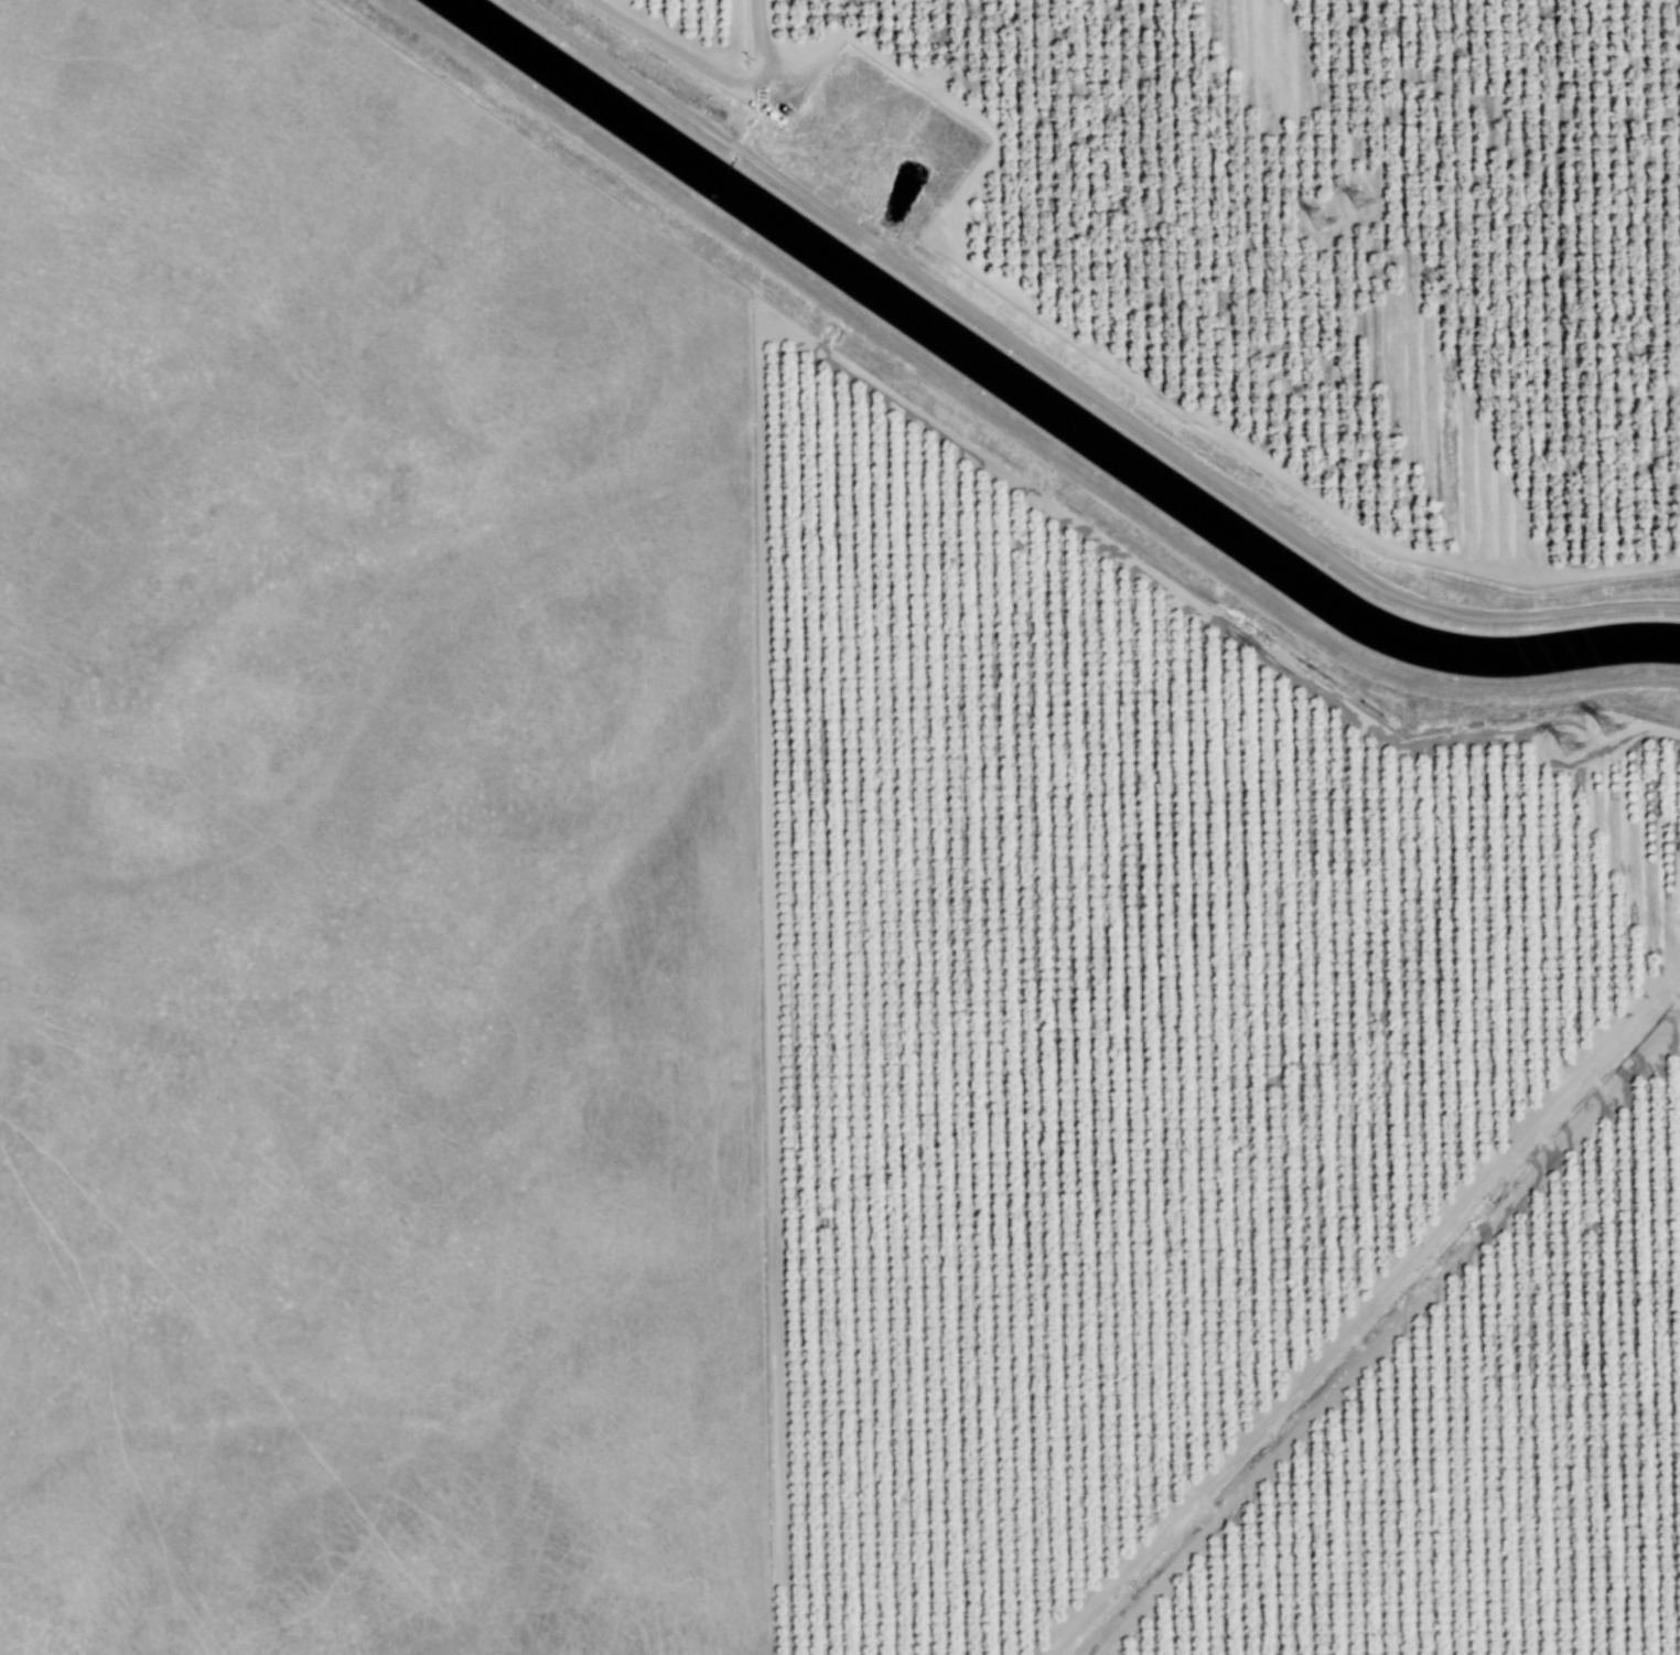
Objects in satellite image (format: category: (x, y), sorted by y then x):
road: (757, 36)
power tower: (1360, 201)
power tower: (1321, 218)
road: (1047, 319)
power tower: (1607, 728)
power tower: (1570, 745)
road: (1385, 1336)

